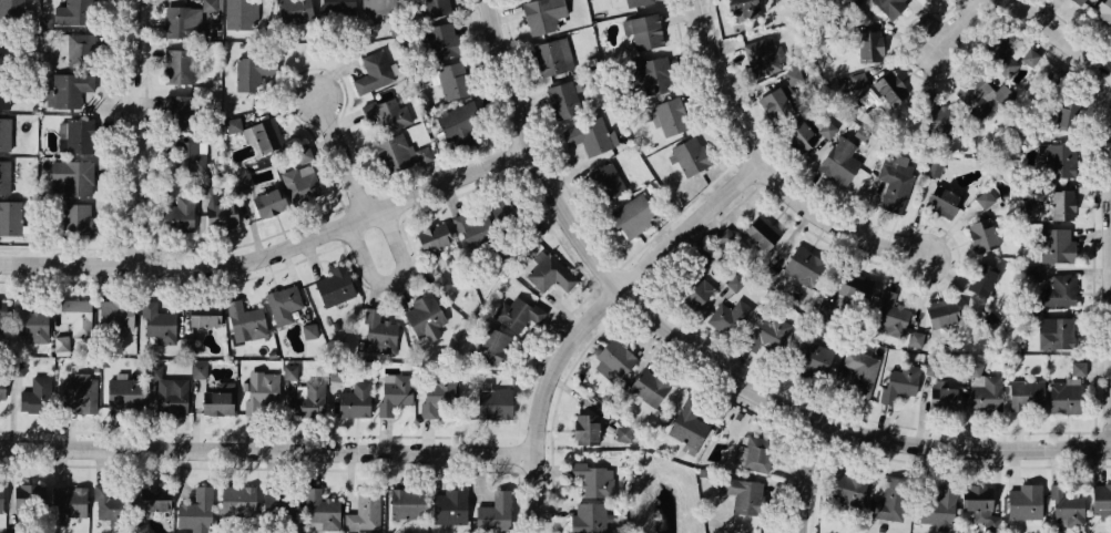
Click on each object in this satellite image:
building: (926, 0)
building: (1078, 1)
building: (635, 2)
building: (208, 4)
building: (740, 4)
building: (888, 4)
building: (337, 6)
building: (434, 7)
building: (10, 8)
building: (288, 9)
building: (379, 9)
building: (1102, 11)
building: (239, 12)
building: (67, 13)
building: (540, 14)
road: (961, 19)
building: (180, 23)
building: (642, 31)
road: (1064, 34)
building: (440, 39)
building: (868, 44)
building: (3, 49)
building: (77, 49)
building: (551, 53)
building: (1000, 53)
building: (760, 55)
building: (1031, 58)
building: (175, 66)
building: (373, 70)
building: (249, 71)
building: (1056, 74)
building: (652, 76)
building: (449, 80)
building: (857, 81)
building: (887, 86)
building: (68, 89)
building: (3, 90)
building: (975, 94)
building: (561, 99)
building: (864, 100)
building: (771, 104)
building: (934, 111)
building: (173, 112)
building: (385, 114)
building: (669, 114)
building: (1059, 116)
building: (230, 124)
building: (457, 124)
building: (824, 126)
road: (131, 131)
building: (265, 132)
building: (587, 133)
building: (3, 134)
building: (796, 136)
building: (77, 137)
building: (302, 153)
building: (396, 153)
road: (537, 154)
building: (186, 155)
building: (691, 155)
road: (340, 158)
building: (840, 161)
building: (1057, 161)
road: (768, 163)
building: (934, 168)
building: (7, 174)
building: (70, 176)
building: (242, 177)
building: (607, 178)
road: (450, 182)
building: (896, 182)
building: (298, 183)
building: (160, 189)
building: (206, 189)
building: (937, 196)
building: (986, 199)
building: (264, 202)
building: (1057, 203)
building: (177, 209)
building: (221, 215)
building: (9, 217)
building: (632, 217)
building: (77, 218)
building: (469, 223)
building: (534, 227)
building: (757, 233)
building: (979, 234)
road: (375, 237)
building: (430, 237)
building: (724, 238)
building: (1054, 245)
building: (701, 260)
building: (801, 262)
road: (187, 264)
building: (547, 271)
building: (766, 273)
building: (1030, 276)
building: (980, 279)
building: (735, 281)
building: (441, 284)
building: (335, 286)
building: (852, 286)
building: (694, 289)
building: (1060, 289)
road: (1110, 298)
building: (282, 303)
building: (823, 310)
building: (2, 311)
building: (74, 312)
building: (940, 314)
building: (113, 315)
building: (202, 316)
building: (512, 316)
road: (594, 316)
building: (728, 316)
building: (889, 317)
building: (1032, 317)
building: (425, 318)
building: (989, 318)
building: (244, 321)
building: (157, 324)
building: (31, 325)
building: (769, 328)
building: (309, 331)
building: (1060, 331)
building: (378, 334)
building: (916, 338)
building: (61, 344)
building: (185, 345)
building: (490, 347)
building: (814, 351)
building: (616, 359)
building: (972, 367)
building: (18, 368)
building: (858, 368)
building: (154, 370)
building: (197, 370)
building: (288, 371)
building: (334, 372)
building: (899, 381)
building: (2, 386)
building: (75, 387)
building: (652, 387)
building: (263, 390)
building: (1066, 391)
building: (123, 392)
building: (395, 393)
building: (983, 393)
building: (1025, 394)
building: (37, 396)
building: (171, 397)
building: (307, 397)
building: (941, 397)
building: (216, 398)
building: (354, 400)
building: (491, 402)
building: (436, 404)
building: (687, 428)
road: (846, 428)
building: (585, 431)
building: (620, 433)
road: (271, 450)
building: (756, 458)
road: (809, 475)
building: (591, 478)
building: (843, 486)
building: (741, 493)
building: (27, 494)
building: (150, 496)
building: (1, 498)
building: (1101, 499)
building: (233, 500)
building: (1022, 502)
building: (405, 503)
building: (65, 504)
building: (110, 504)
building: (447, 504)
building: (196, 505)
building: (319, 506)
building: (939, 506)
building: (978, 508)
building: (1069, 508)
building: (886, 509)
building: (361, 510)
building: (492, 513)
building: (584, 519)

